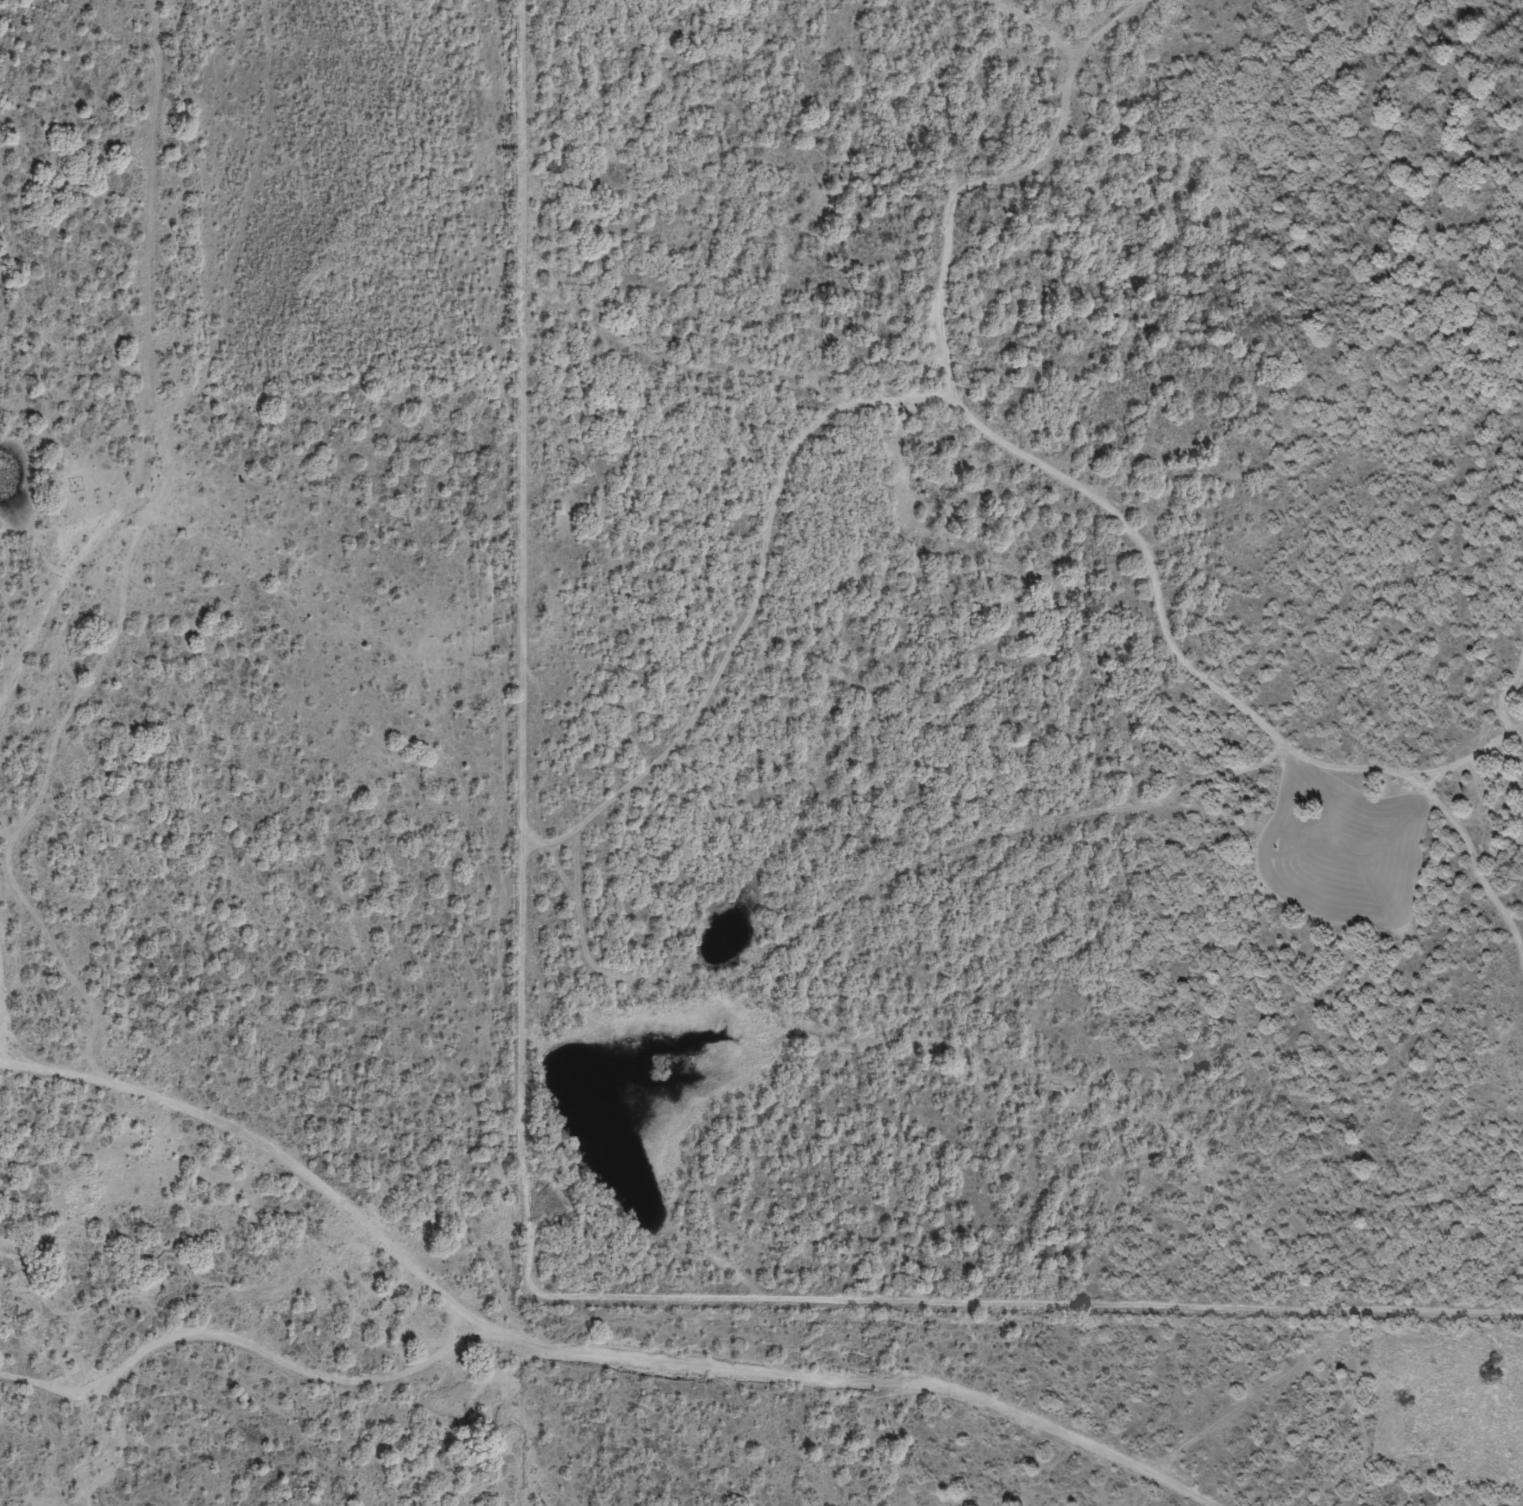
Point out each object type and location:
road: (1193, 1495)

